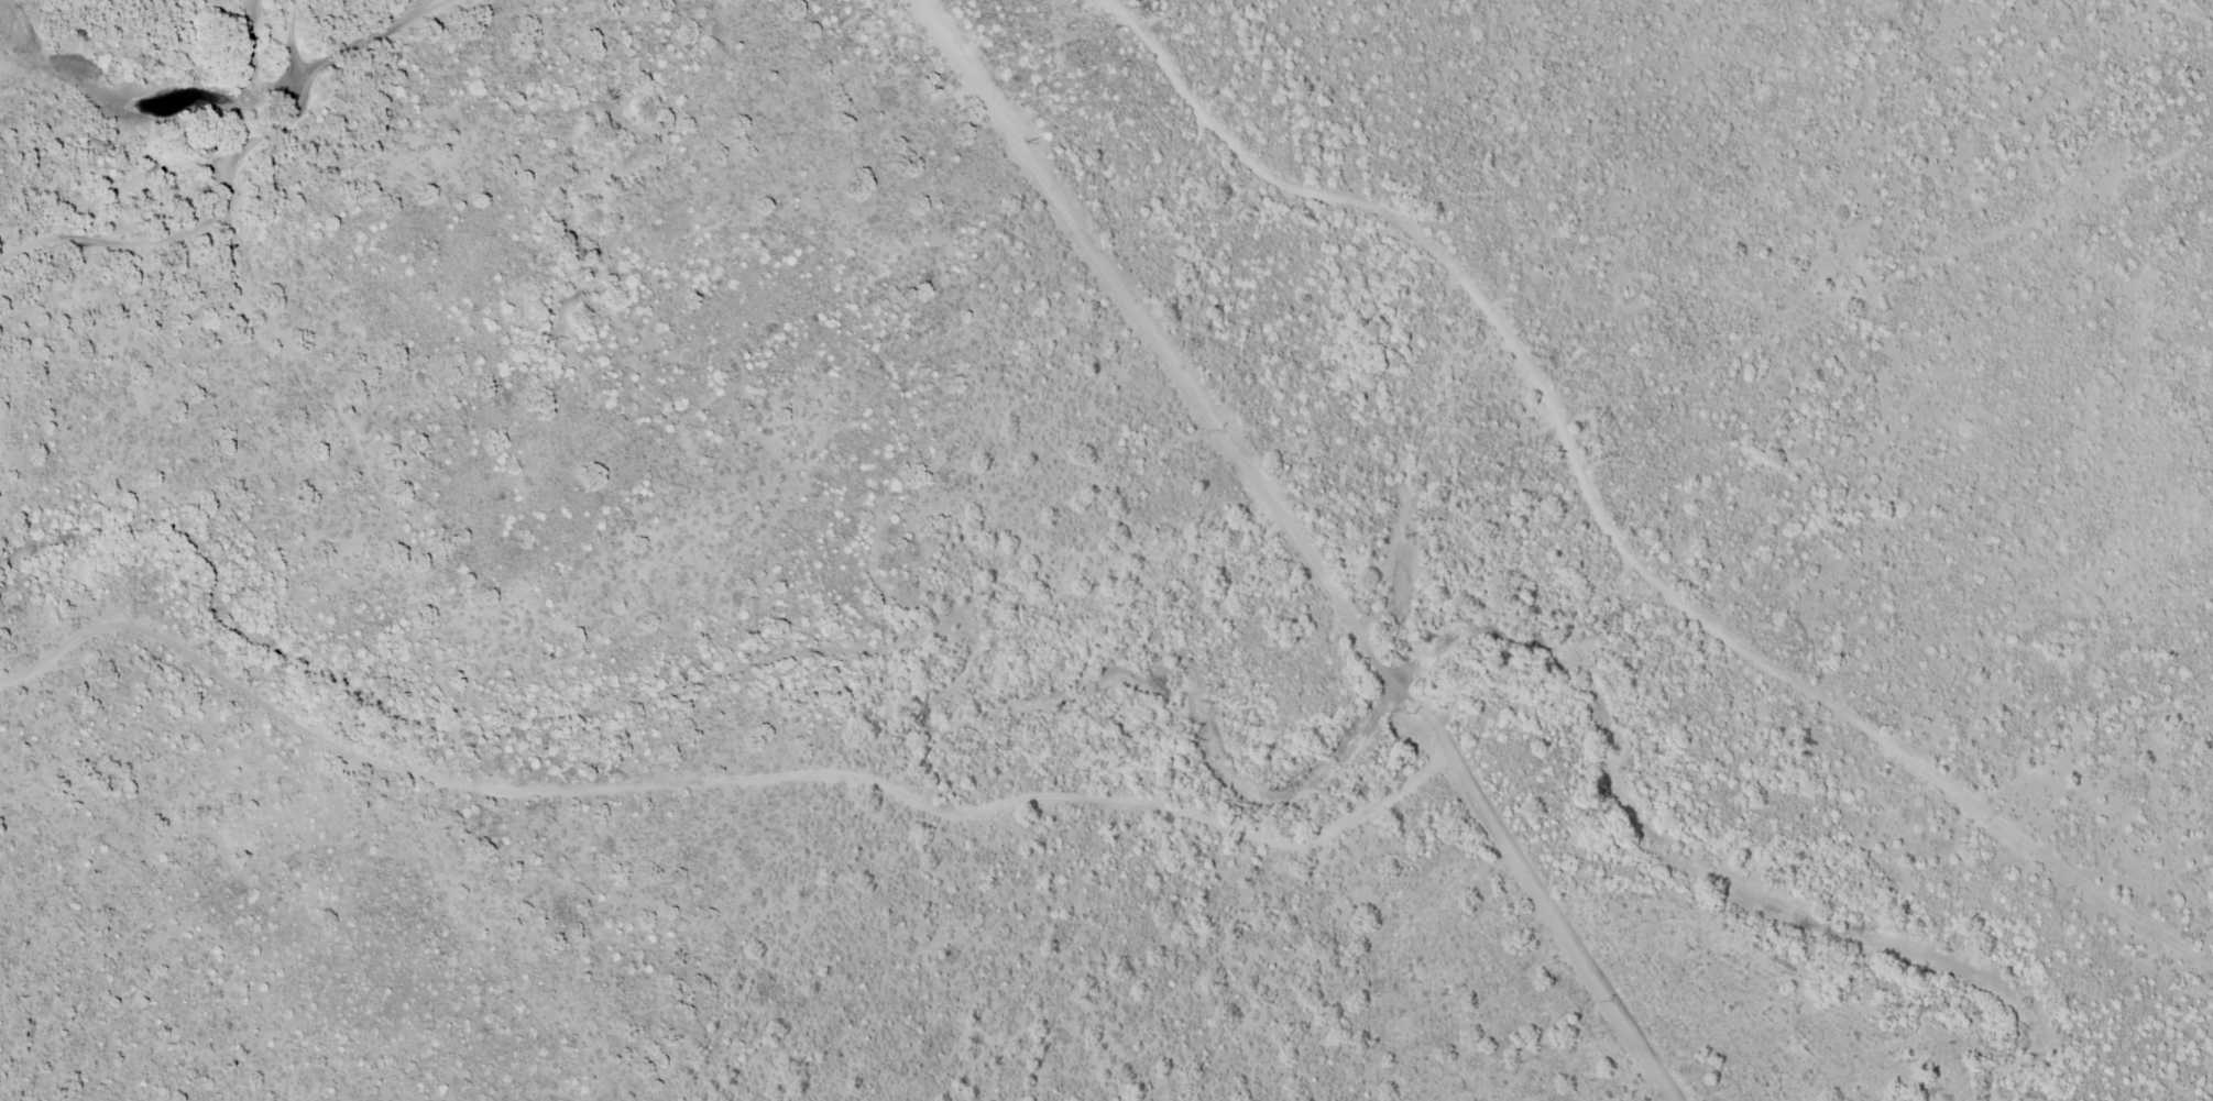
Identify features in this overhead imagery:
road: (375, 56)
road: (303, 64)
power tower: (1026, 142)
power tower: (1223, 430)
road: (1611, 528)
power tower: (1417, 713)
power tower: (1611, 1000)

